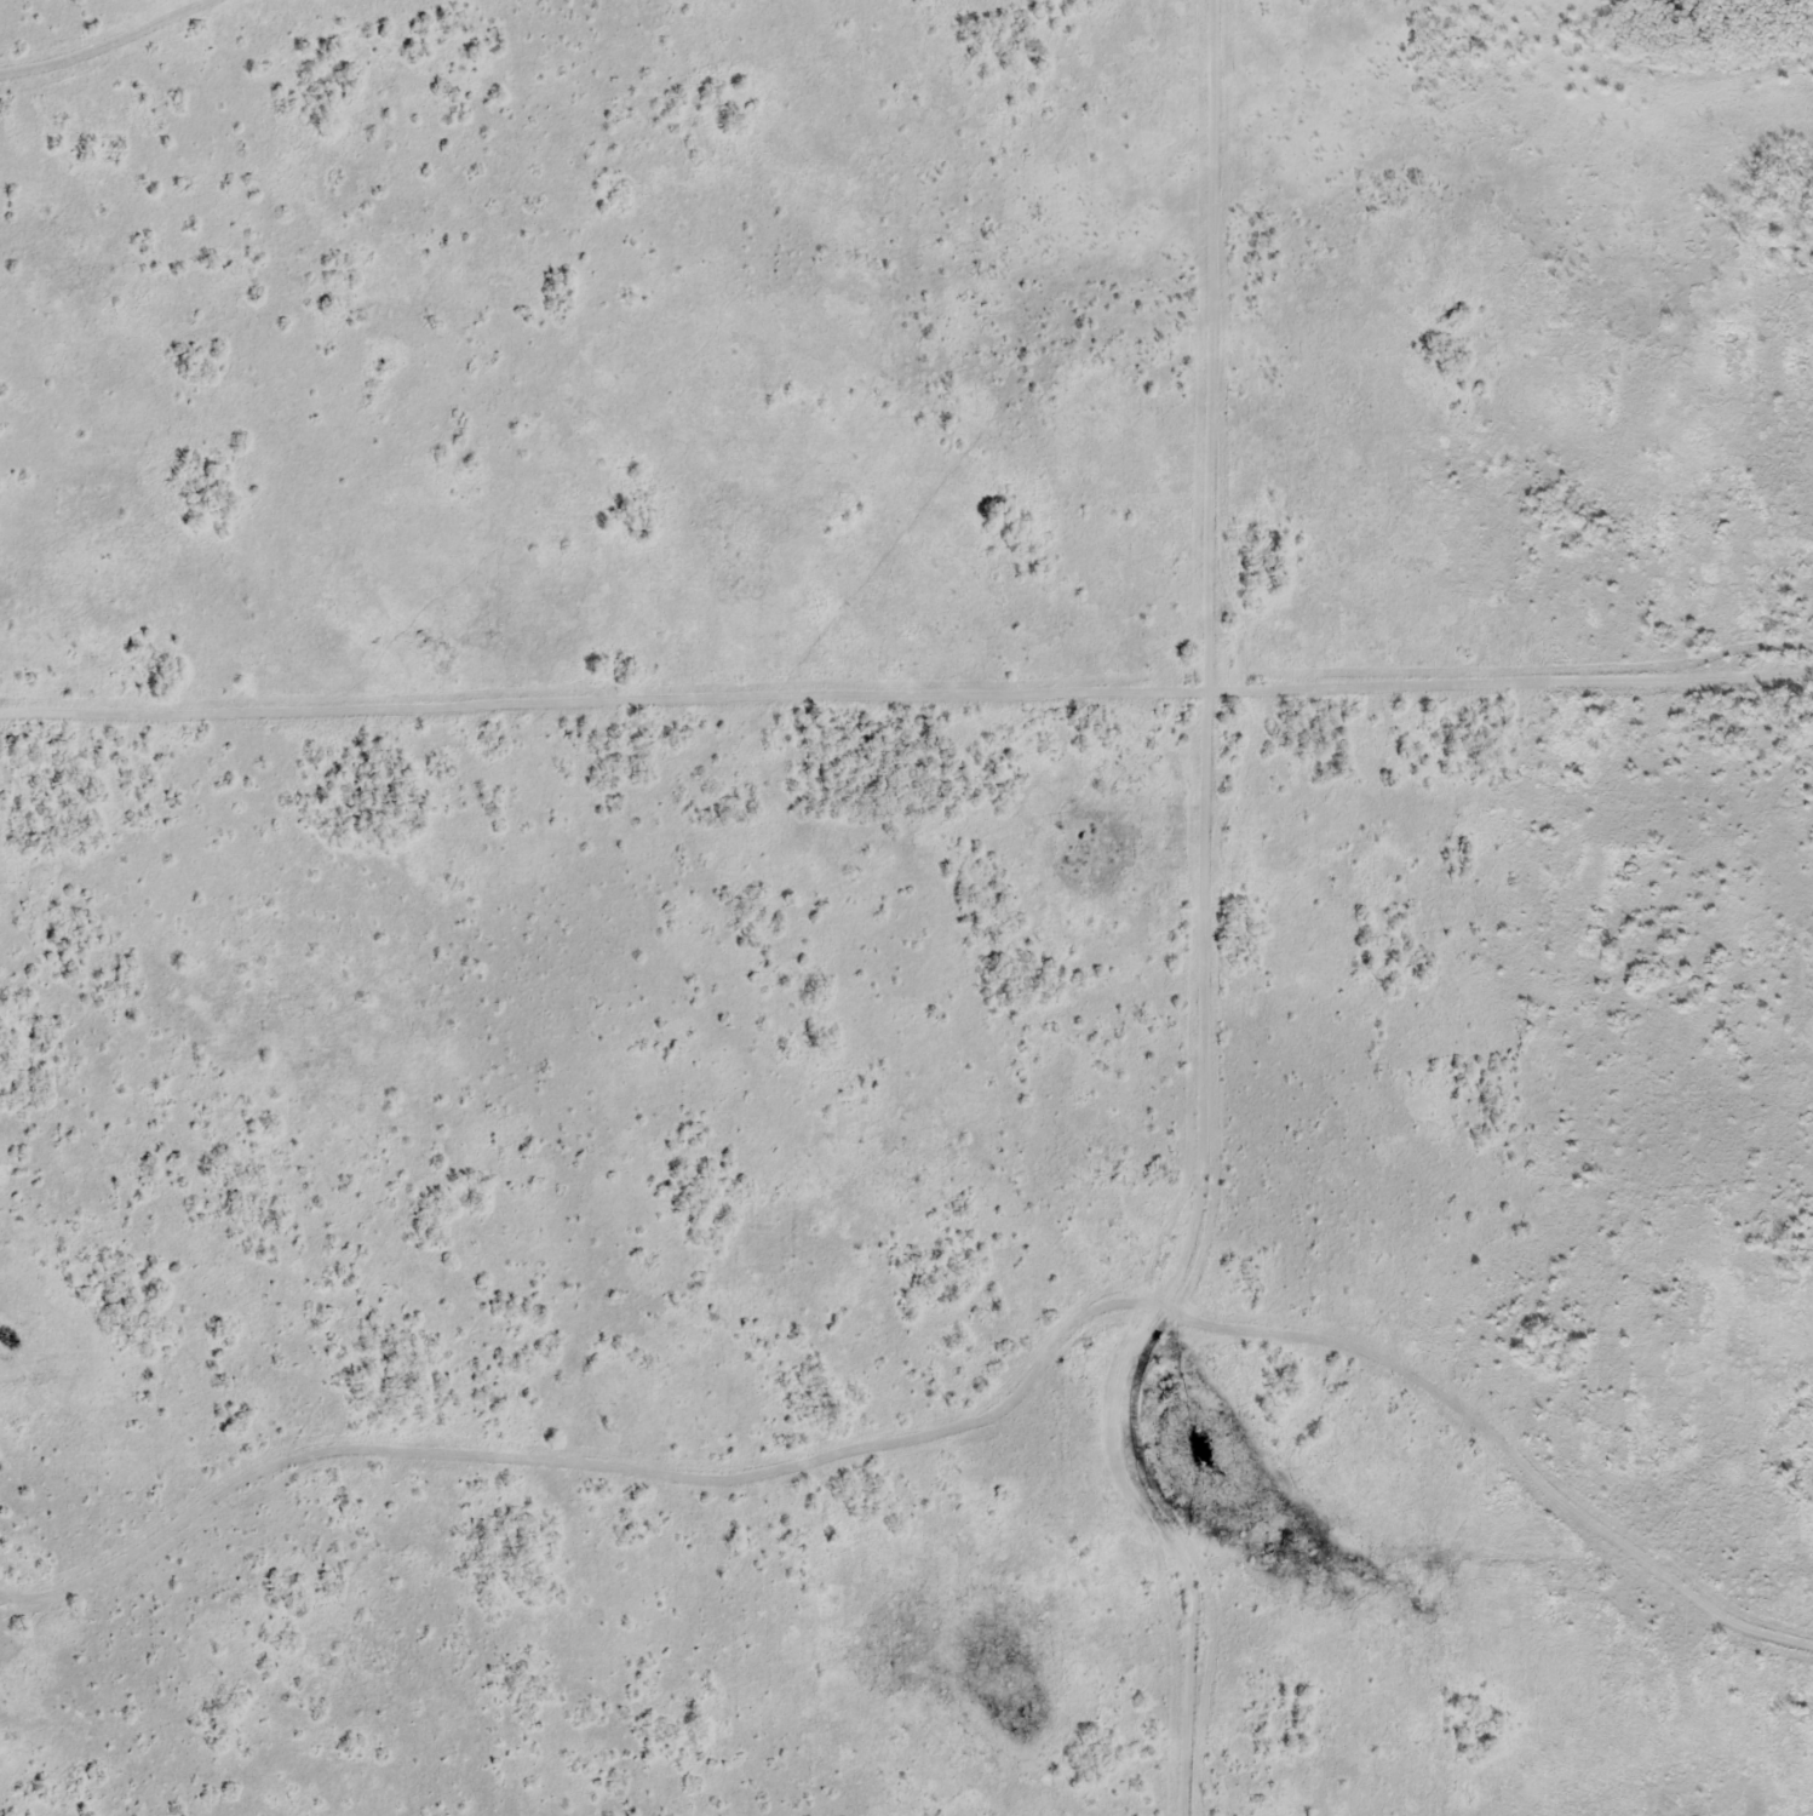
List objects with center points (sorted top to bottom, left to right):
road: (1149, 938)

